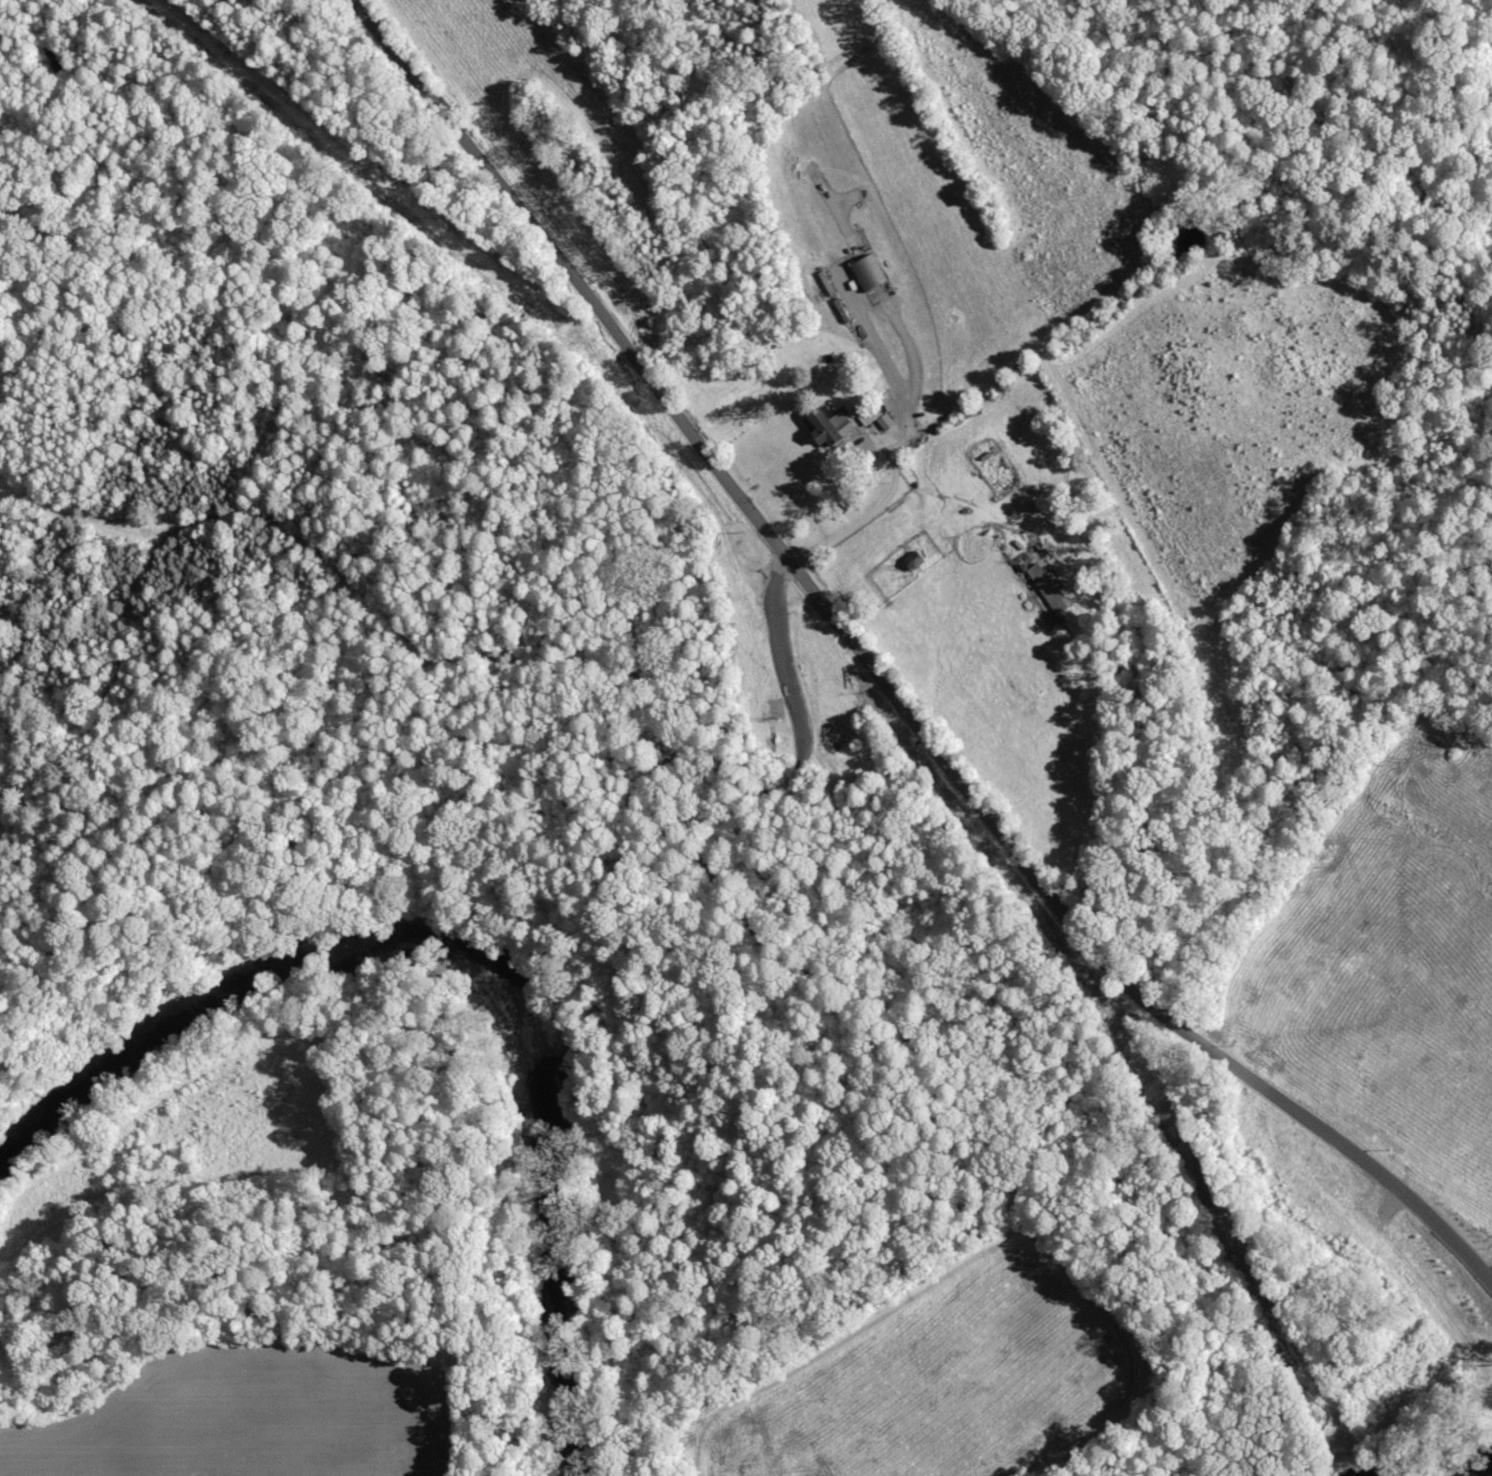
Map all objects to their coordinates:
building: (870, 273)
building: (887, 422)
building: (832, 427)
road: (882, 506)
building: (1049, 587)
road: (881, 665)

